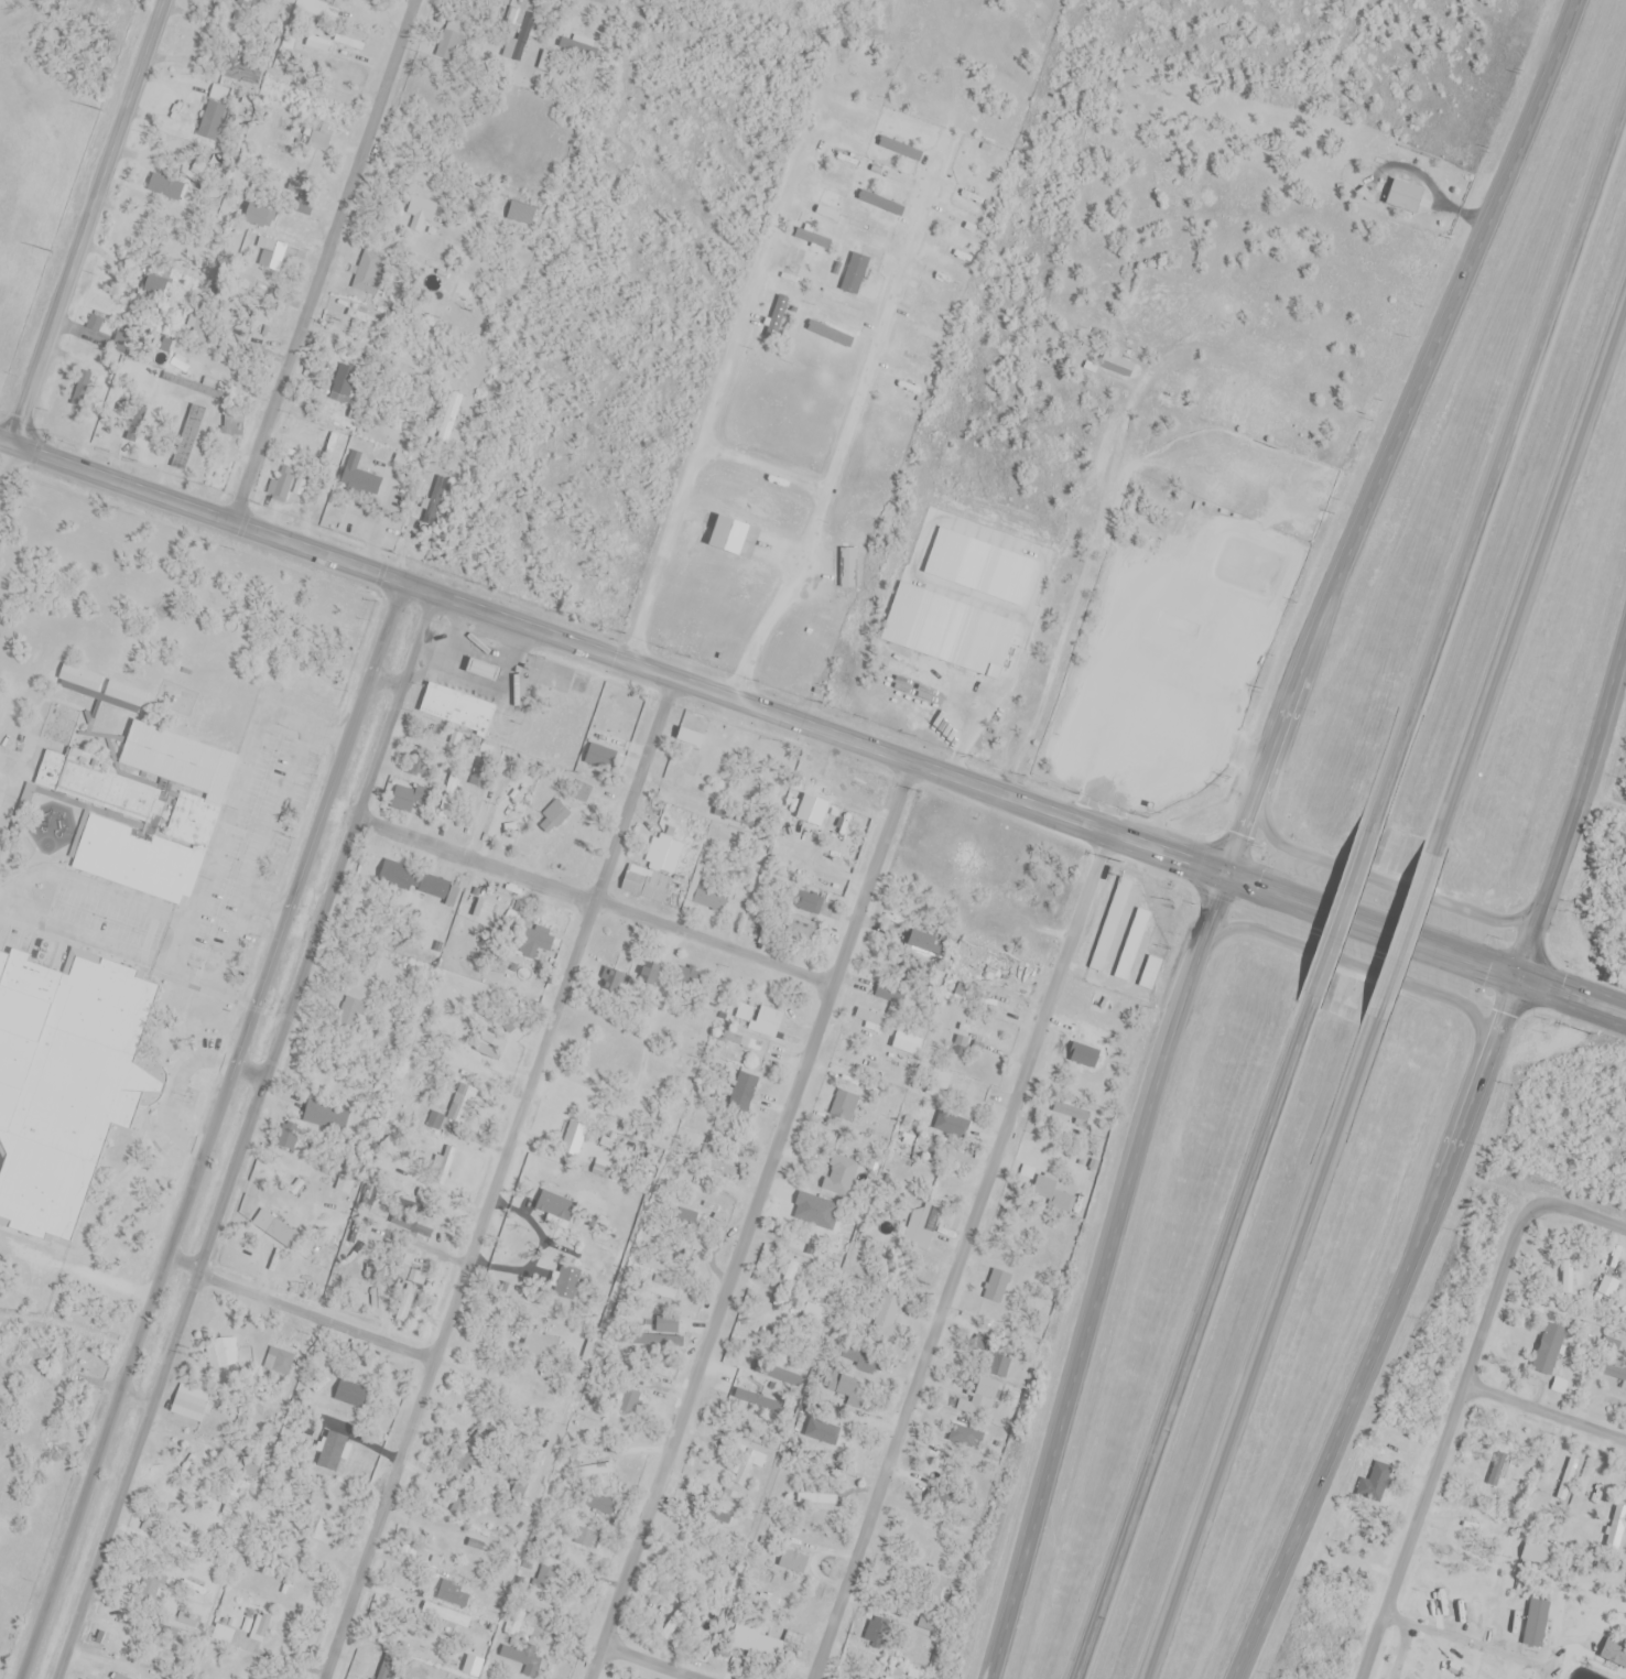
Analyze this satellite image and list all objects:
road: (607, 0)
building: (314, 8)
building: (511, 15)
building: (451, 41)
building: (581, 48)
building: (512, 50)
building: (242, 71)
building: (214, 113)
building: (158, 184)
building: (1403, 196)
building: (304, 202)
building: (421, 213)
building: (521, 213)
road: (88, 216)
building: (258, 216)
building: (811, 238)
building: (176, 247)
road: (321, 254)
building: (270, 258)
building: (369, 270)
building: (853, 273)
building: (156, 282)
building: (842, 308)
building: (779, 316)
building: (365, 318)
building: (263, 321)
building: (1116, 366)
building: (903, 384)
road: (711, 397)
building: (338, 399)
building: (232, 422)
road: (841, 427)
road: (1403, 427)
building: (187, 437)
road: (6, 459)
road: (1503, 462)
road: (757, 468)
building: (356, 475)
building: (281, 484)
building: (1087, 502)
building: (726, 535)
building: (847, 568)
road: (1530, 572)
road: (1069, 596)
road: (615, 647)
road: (611, 659)
building: (18, 683)
road: (359, 686)
building: (101, 692)
building: (455, 709)
building: (1155, 717)
building: (67, 728)
building: (692, 730)
gas station: (1169, 748)
building: (403, 800)
road: (1574, 808)
building: (814, 813)
building: (556, 817)
building: (839, 826)
building: (134, 832)
road: (213, 839)
road: (258, 853)
building: (655, 874)
building: (419, 884)
building: (47, 885)
road: (89, 885)
building: (707, 892)
road: (577, 896)
building: (805, 903)
building: (481, 907)
road: (262, 908)
road: (1376, 909)
road: (1343, 913)
road: (300, 921)
building: (75, 929)
road: (1368, 929)
building: (796, 930)
road: (86, 938)
road: (1402, 938)
building: (530, 942)
building: (920, 942)
building: (1131, 944)
building: (969, 962)
building: (1005, 973)
building: (1150, 973)
building: (689, 977)
road: (1573, 978)
building: (890, 993)
road: (1569, 1000)
building: (993, 1001)
building: (1101, 1004)
road: (271, 1005)
building: (350, 1015)
building: (759, 1020)
building: (870, 1020)
building: (745, 1044)
building: (904, 1047)
building: (1087, 1047)
building: (601, 1054)
building: (952, 1084)
building: (730, 1102)
building: (844, 1105)
building: (1070, 1112)
building: (944, 1120)
building: (441, 1124)
road: (245, 1130)
building: (573, 1138)
building: (717, 1166)
building: (440, 1168)
road: (500, 1173)
building: (344, 1185)
building: (1061, 1202)
road: (755, 1214)
building: (683, 1218)
building: (923, 1224)
building: (411, 1225)
building: (274, 1228)
road: (174, 1242)
road: (960, 1246)
building: (837, 1256)
road: (1097, 1265)
building: (787, 1283)
building: (997, 1288)
building: (1607, 1290)
building: (660, 1291)
building: (406, 1303)
building: (813, 1313)
road: (316, 1314)
building: (885, 1317)
road: (1385, 1322)
road: (1193, 1342)
building: (660, 1344)
building: (538, 1345)
building: (1549, 1350)
building: (216, 1352)
road: (1258, 1355)
building: (279, 1361)
building: (864, 1362)
building: (1614, 1374)
building: (777, 1376)
building: (845, 1386)
building: (985, 1390)
building: (349, 1393)
road: (1457, 1395)
building: (747, 1400)
building: (188, 1404)
road: (1543, 1413)
building: (819, 1432)
building: (962, 1436)
building: (342, 1454)
building: (748, 1466)
building: (585, 1473)
building: (1568, 1480)
building: (1375, 1483)
building: (1586, 1486)
building: (236, 1498)
building: (815, 1499)
building: (597, 1503)
building: (713, 1514)
building: (322, 1530)
building: (1617, 1530)
building: (584, 1538)
building: (707, 1540)
building: (792, 1561)
building: (151, 1586)
building: (303, 1586)
building: (768, 1595)
building: (455, 1596)
building: (445, 1618)
building: (1535, 1623)
building: (524, 1625)
building: (260, 1626)
building: (284, 1638)
building: (759, 1645)
building: (1614, 1654)
building: (520, 1656)
building: (169, 1658)
road: (651, 1662)
building: (383, 1672)
building: (870, 1677)

